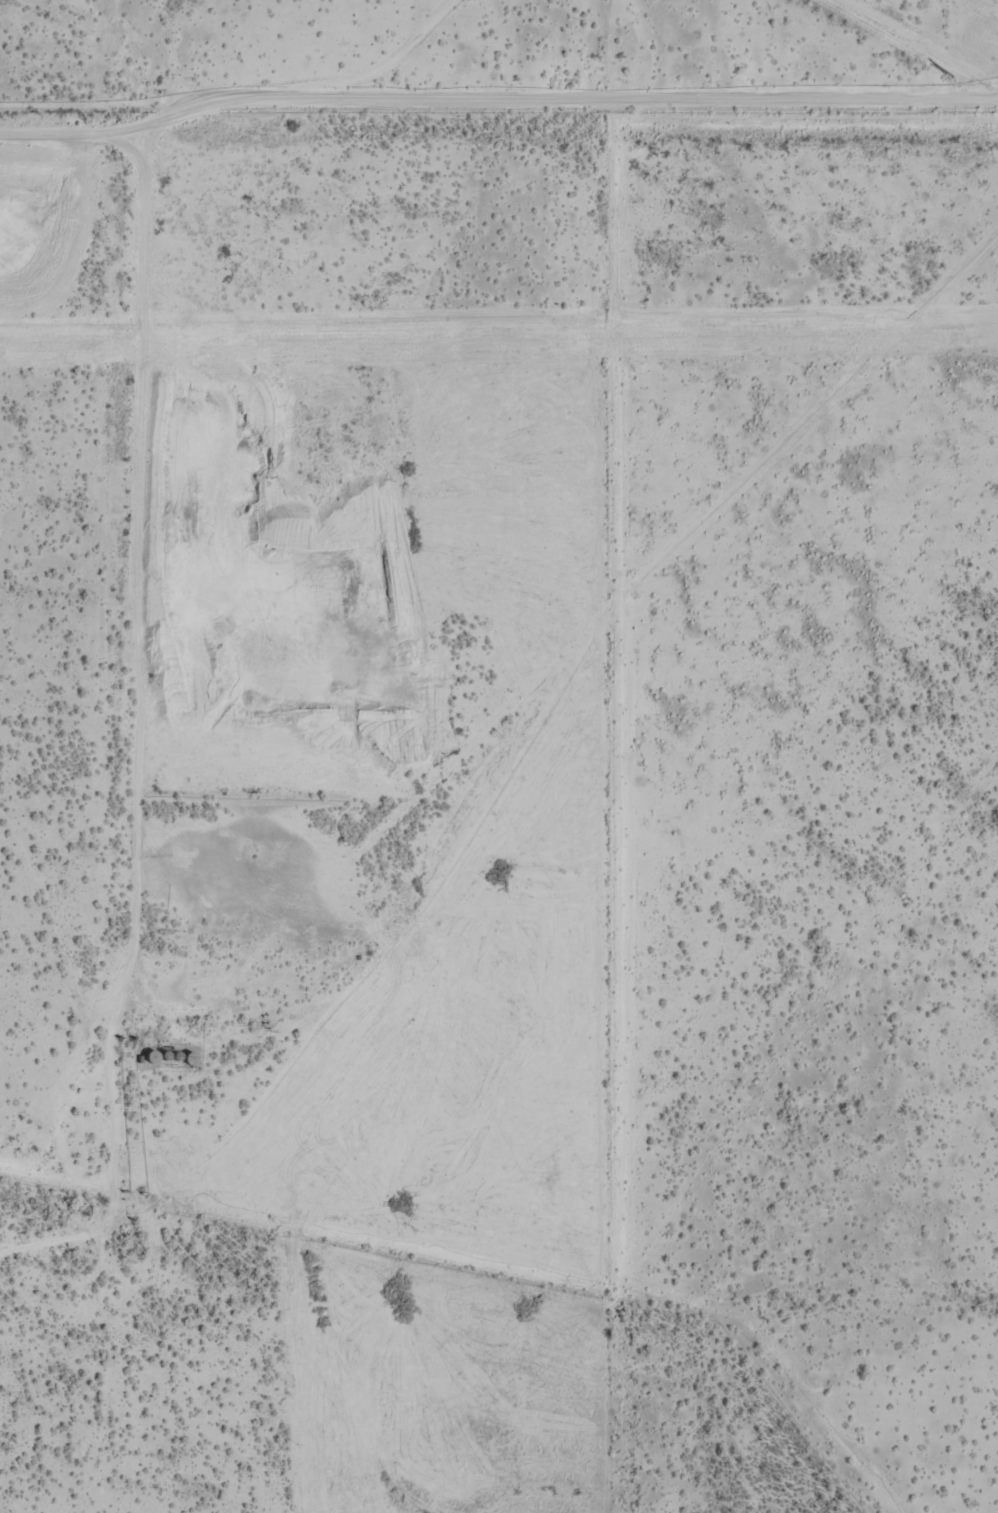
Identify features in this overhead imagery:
road: (498, 112)
road: (132, 555)

